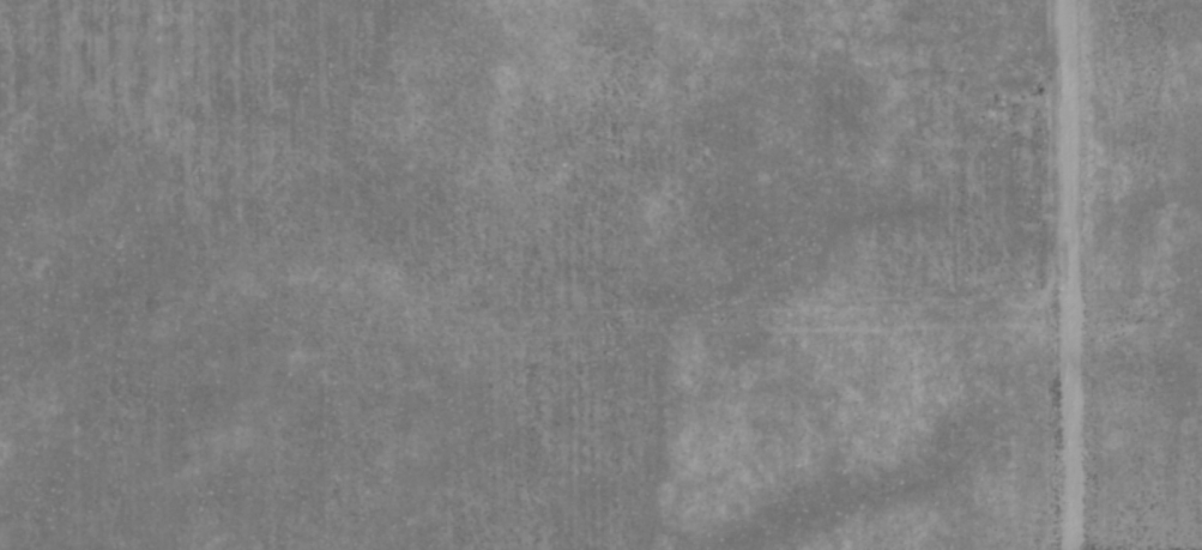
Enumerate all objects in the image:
road: (1065, 274)

